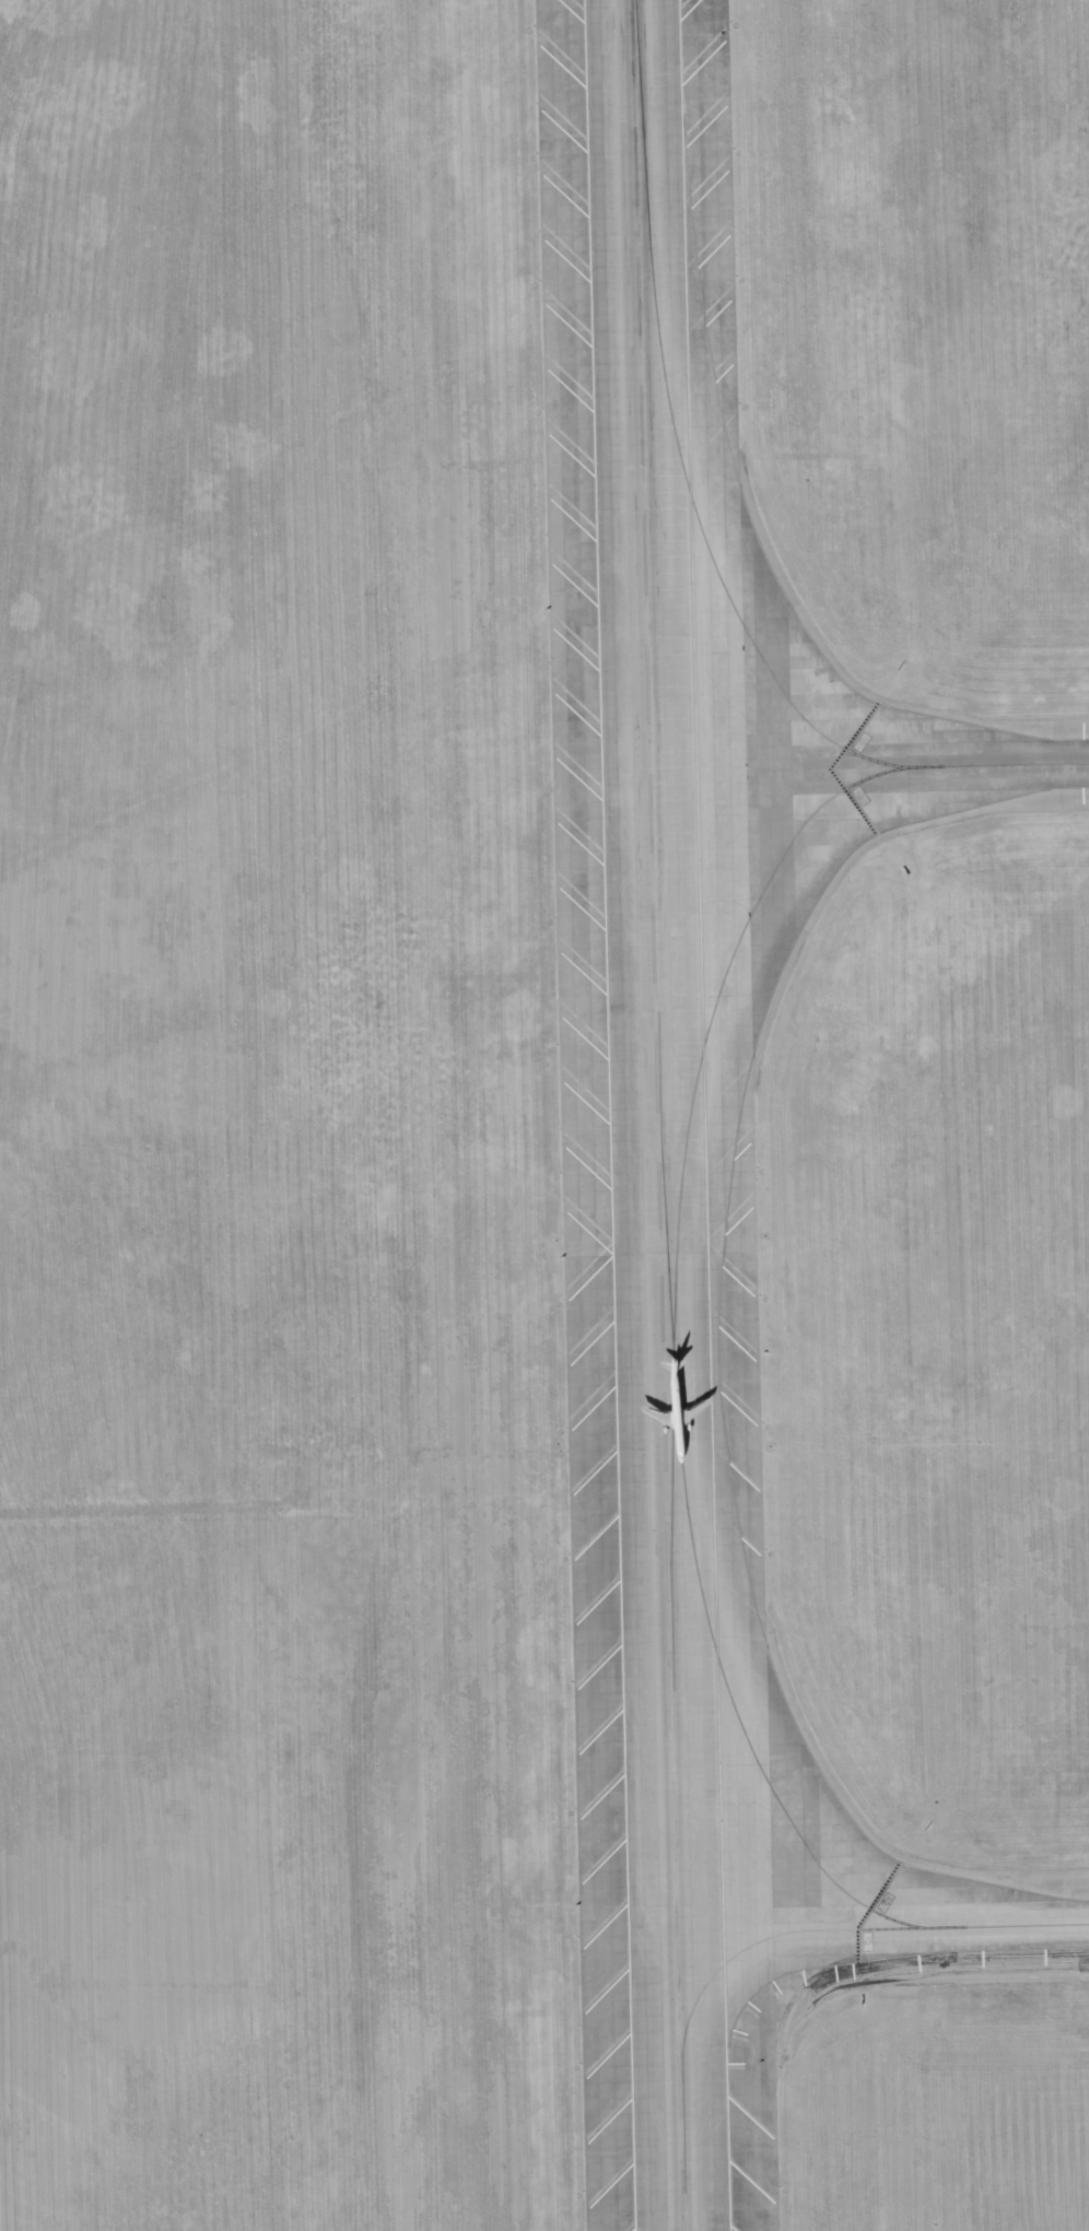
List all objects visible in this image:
airport taxiway: (698, 519)
airport: (544, 1115)
airport runway: (656, 1115)
airport taxiway: (679, 1201)
airport taxiway: (687, 1511)
airport taxiway: (782, 1931)

